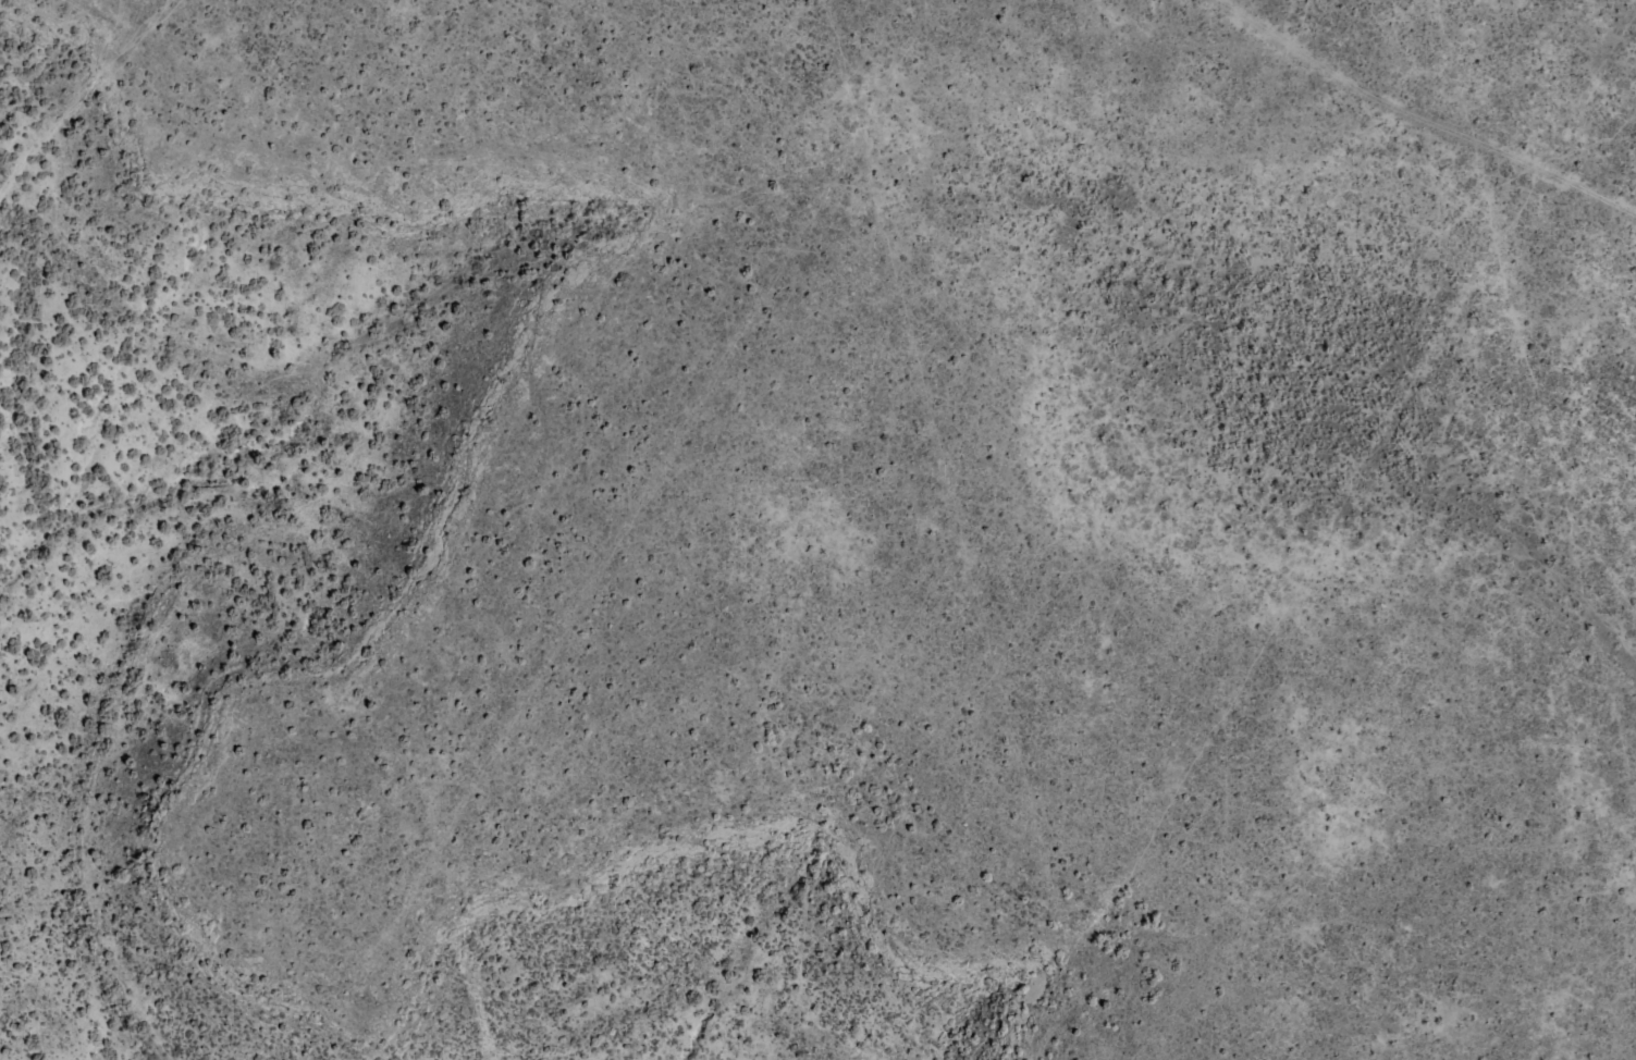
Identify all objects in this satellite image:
road: (1450, 83)

